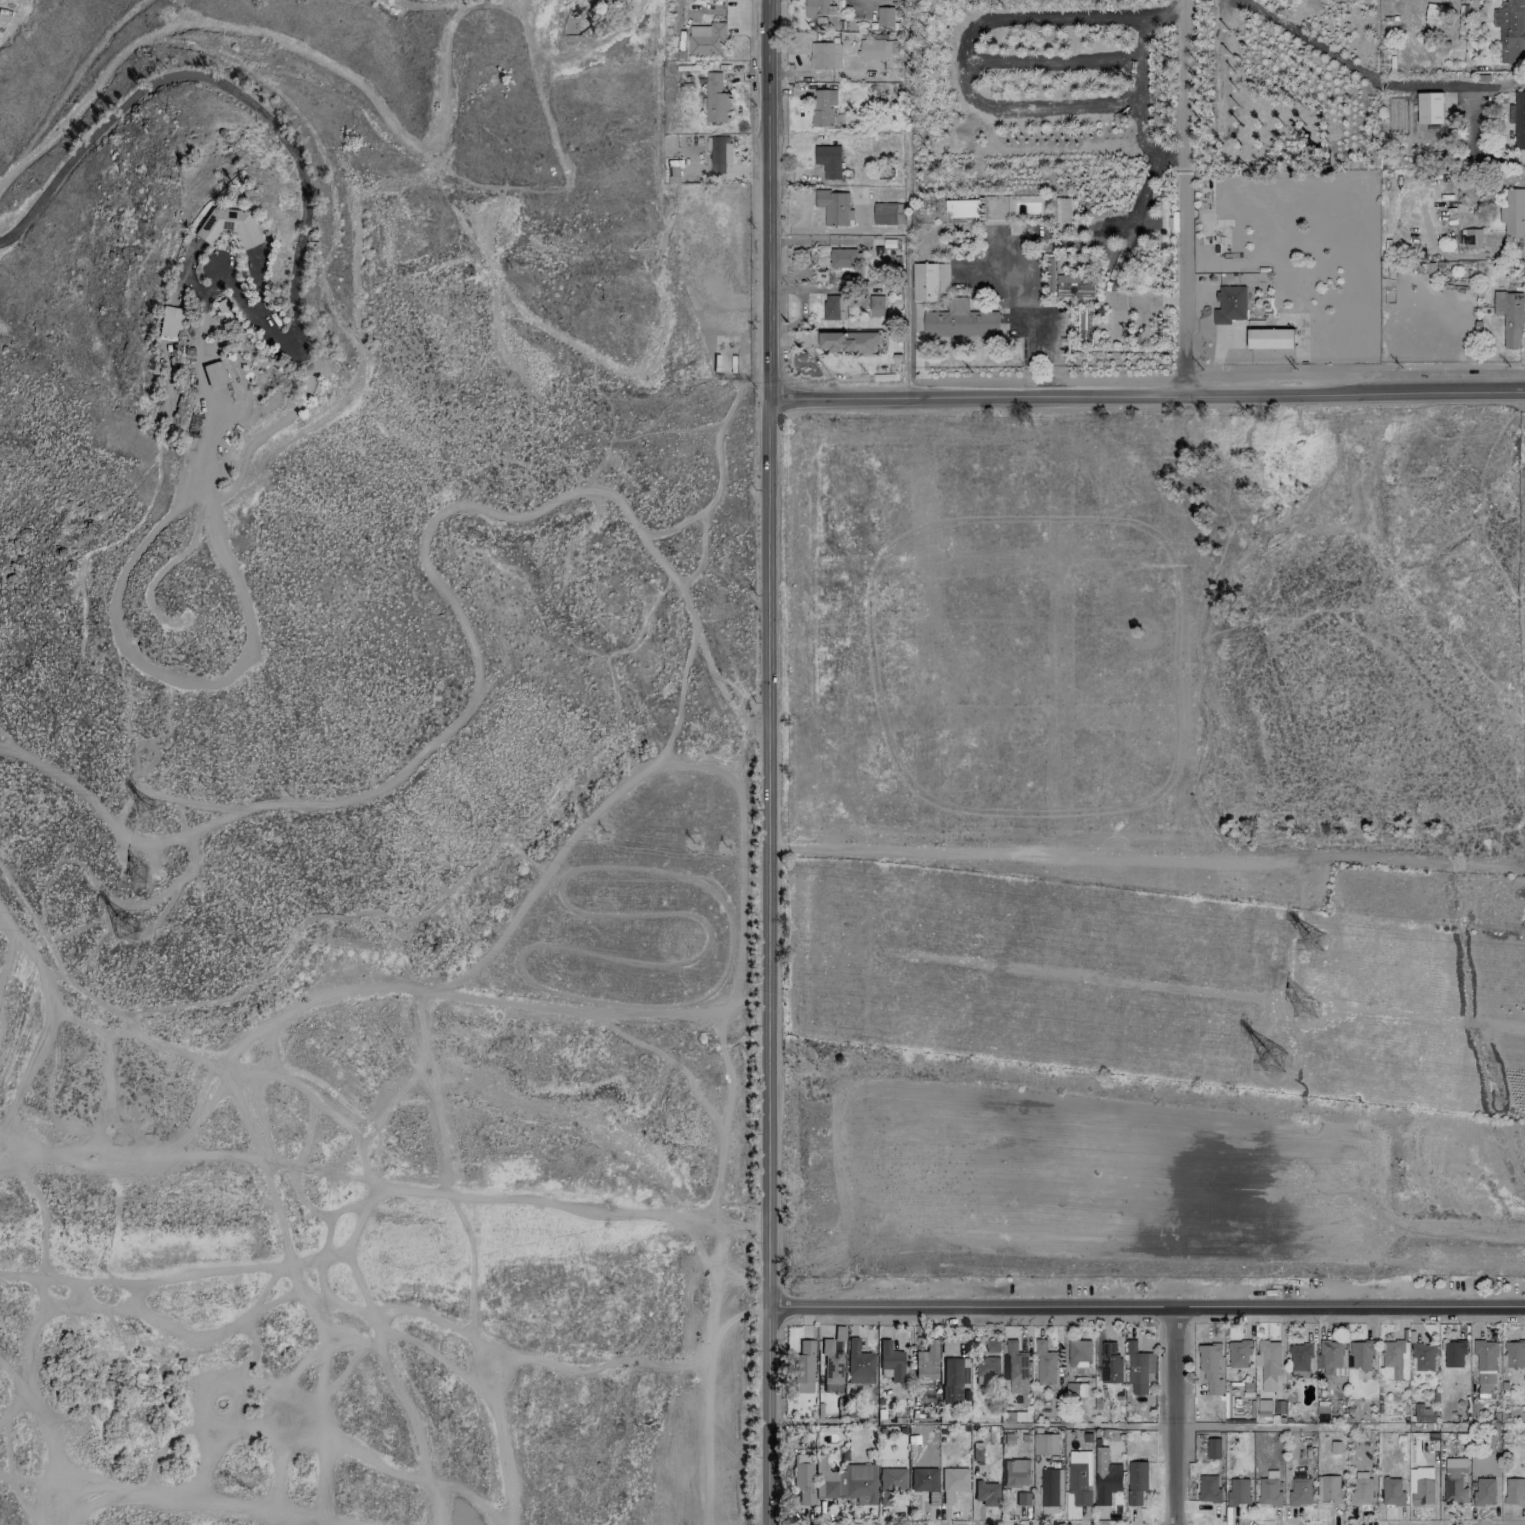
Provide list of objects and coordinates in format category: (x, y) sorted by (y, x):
building: (819, 8)
building: (1434, 12)
building: (884, 16)
building: (1510, 31)
building: (706, 38)
building: (878, 48)
building: (825, 55)
road: (219, 81)
building: (715, 99)
building: (823, 107)
building: (1429, 108)
building: (1518, 119)
road: (1469, 121)
building: (719, 153)
building: (828, 160)
road: (1185, 198)
building: (833, 207)
building: (962, 208)
building: (1063, 210)
building: (1513, 212)
building: (887, 213)
building: (228, 227)
building: (1471, 238)
road: (5, 246)
building: (845, 258)
road: (185, 273)
building: (820, 275)
building: (942, 278)
building: (924, 282)
road: (212, 284)
building: (1074, 290)
building: (1229, 304)
building: (875, 305)
building: (831, 307)
building: (223, 310)
road: (255, 314)
building: (1509, 317)
building: (959, 320)
building: (170, 322)
building: (1084, 326)
building: (1270, 338)
building: (848, 342)
road: (200, 374)
building: (214, 374)
road: (1146, 397)
park: (1524, 481)
road: (426, 550)
road: (768, 655)
road: (84, 796)
power tower: (144, 806)
road: (1146, 859)
power tower: (137, 874)
road: (448, 892)
road: (125, 902)
power tower: (127, 930)
power tower: (1312, 940)
power tower: (1306, 1008)
power tower: (1275, 1061)
road: (1145, 1314)
building: (1079, 1353)
building: (1454, 1353)
building: (1514, 1353)
building: (1238, 1354)
building: (1329, 1354)
building: (1361, 1355)
building: (1423, 1356)
building: (1395, 1358)
building: (1300, 1359)
building: (891, 1361)
building: (926, 1362)
building: (1485, 1362)
building: (1109, 1363)
building: (1268, 1363)
building: (831, 1364)
building: (859, 1364)
building: (1045, 1364)
building: (804, 1368)
building: (987, 1368)
building: (1209, 1368)
building: (1138, 1369)
building: (1017, 1370)
building: (954, 1379)
building: (1423, 1413)
road: (768, 1418)
road: (1173, 1420)
road: (1286, 1427)
building: (1045, 1444)
building: (1213, 1448)
building: (1016, 1472)
building: (1079, 1477)
building: (804, 1478)
building: (1105, 1478)
building: (954, 1479)
building: (924, 1480)
building: (1455, 1480)
building: (846, 1482)
building: (1136, 1482)
building: (891, 1484)
building: (1422, 1487)
building: (1329, 1488)
building: (1208, 1489)
building: (1299, 1489)
building: (1361, 1489)
building: (1048, 1490)
building: (1392, 1491)
building: (1484, 1491)
building: (1514, 1491)
building: (1238, 1492)
building: (1268, 1492)
building: (986, 1493)
building: (1022, 1499)

